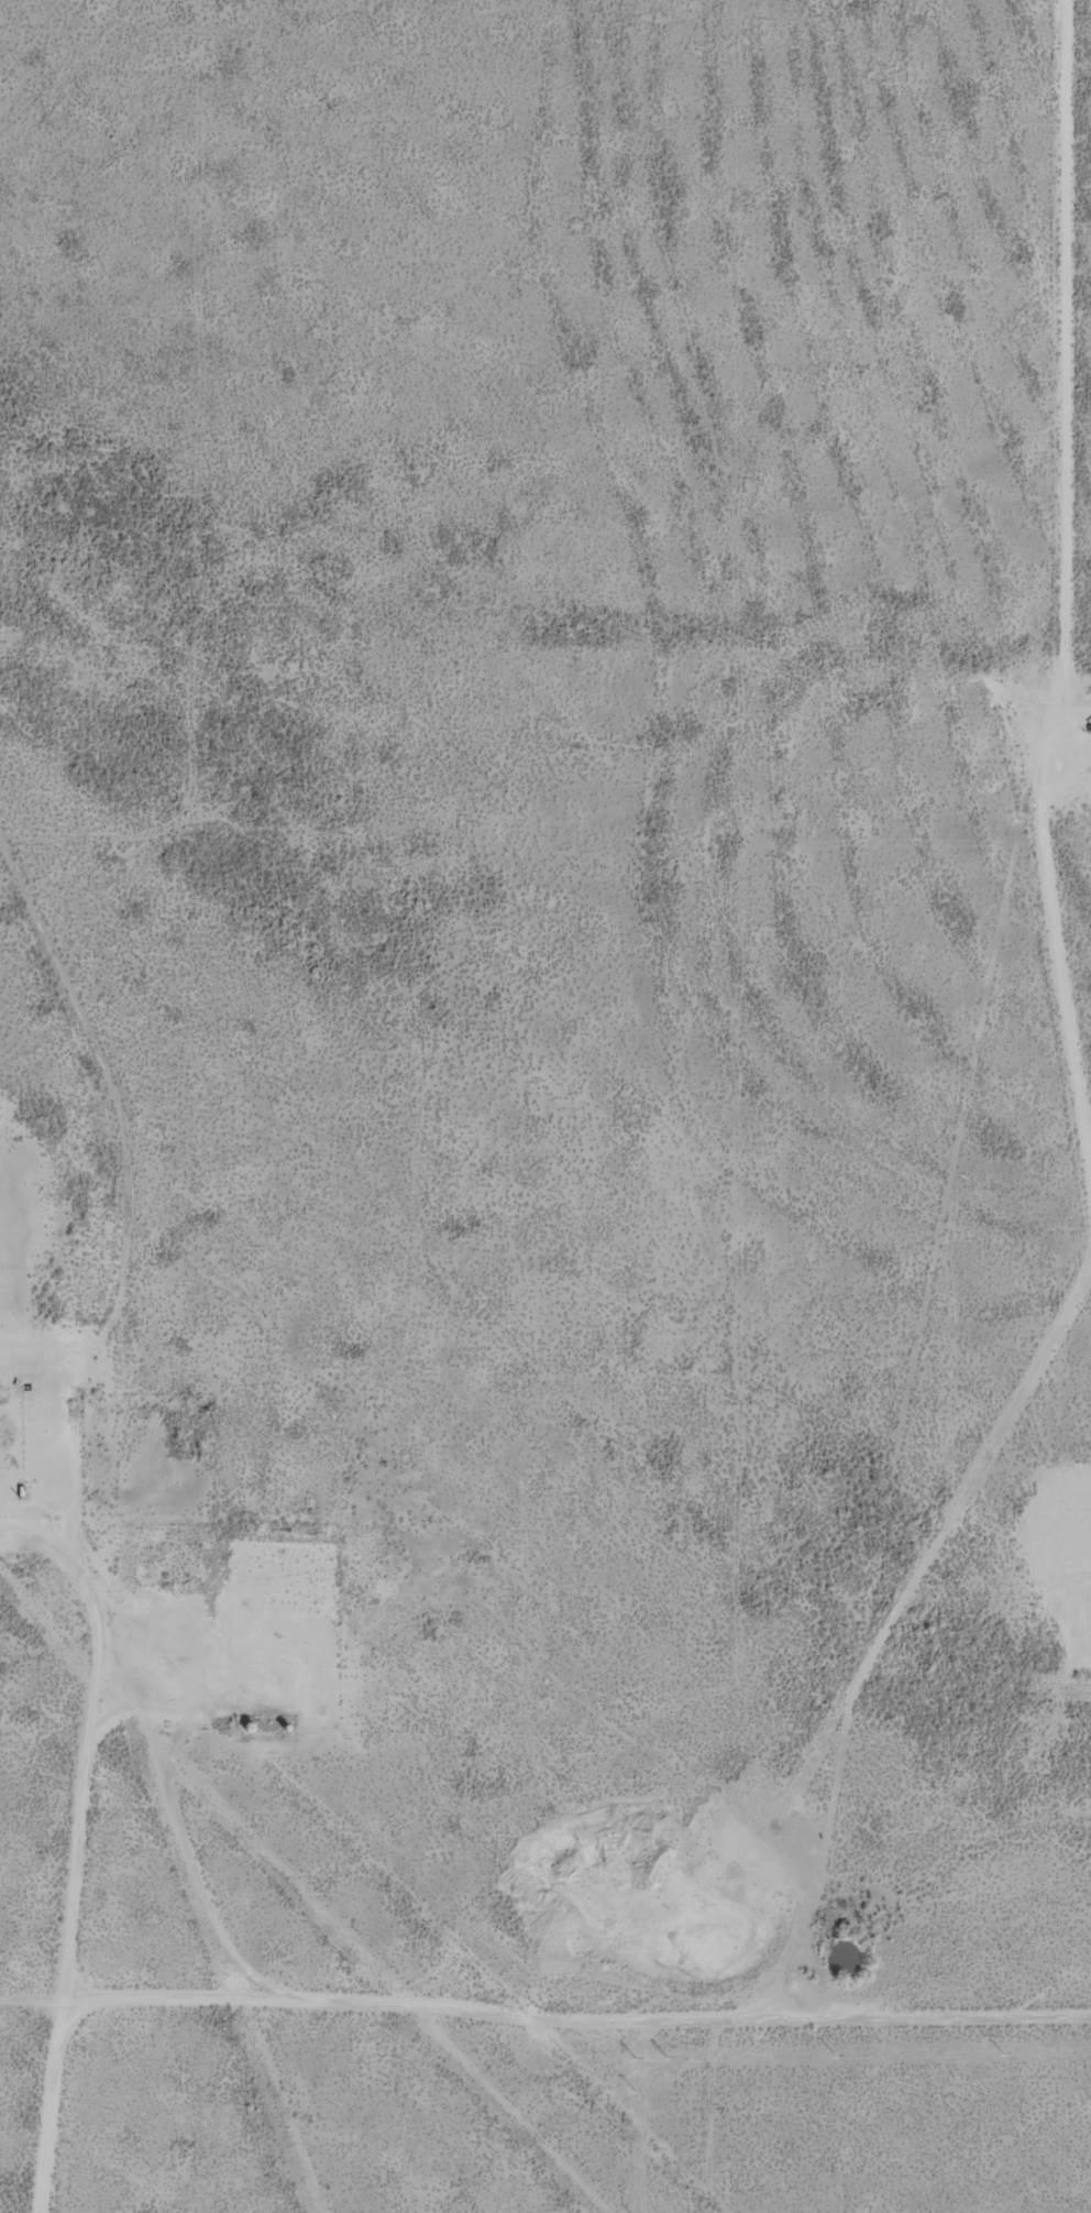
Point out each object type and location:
road: (469, 1990)
road: (715, 2104)

